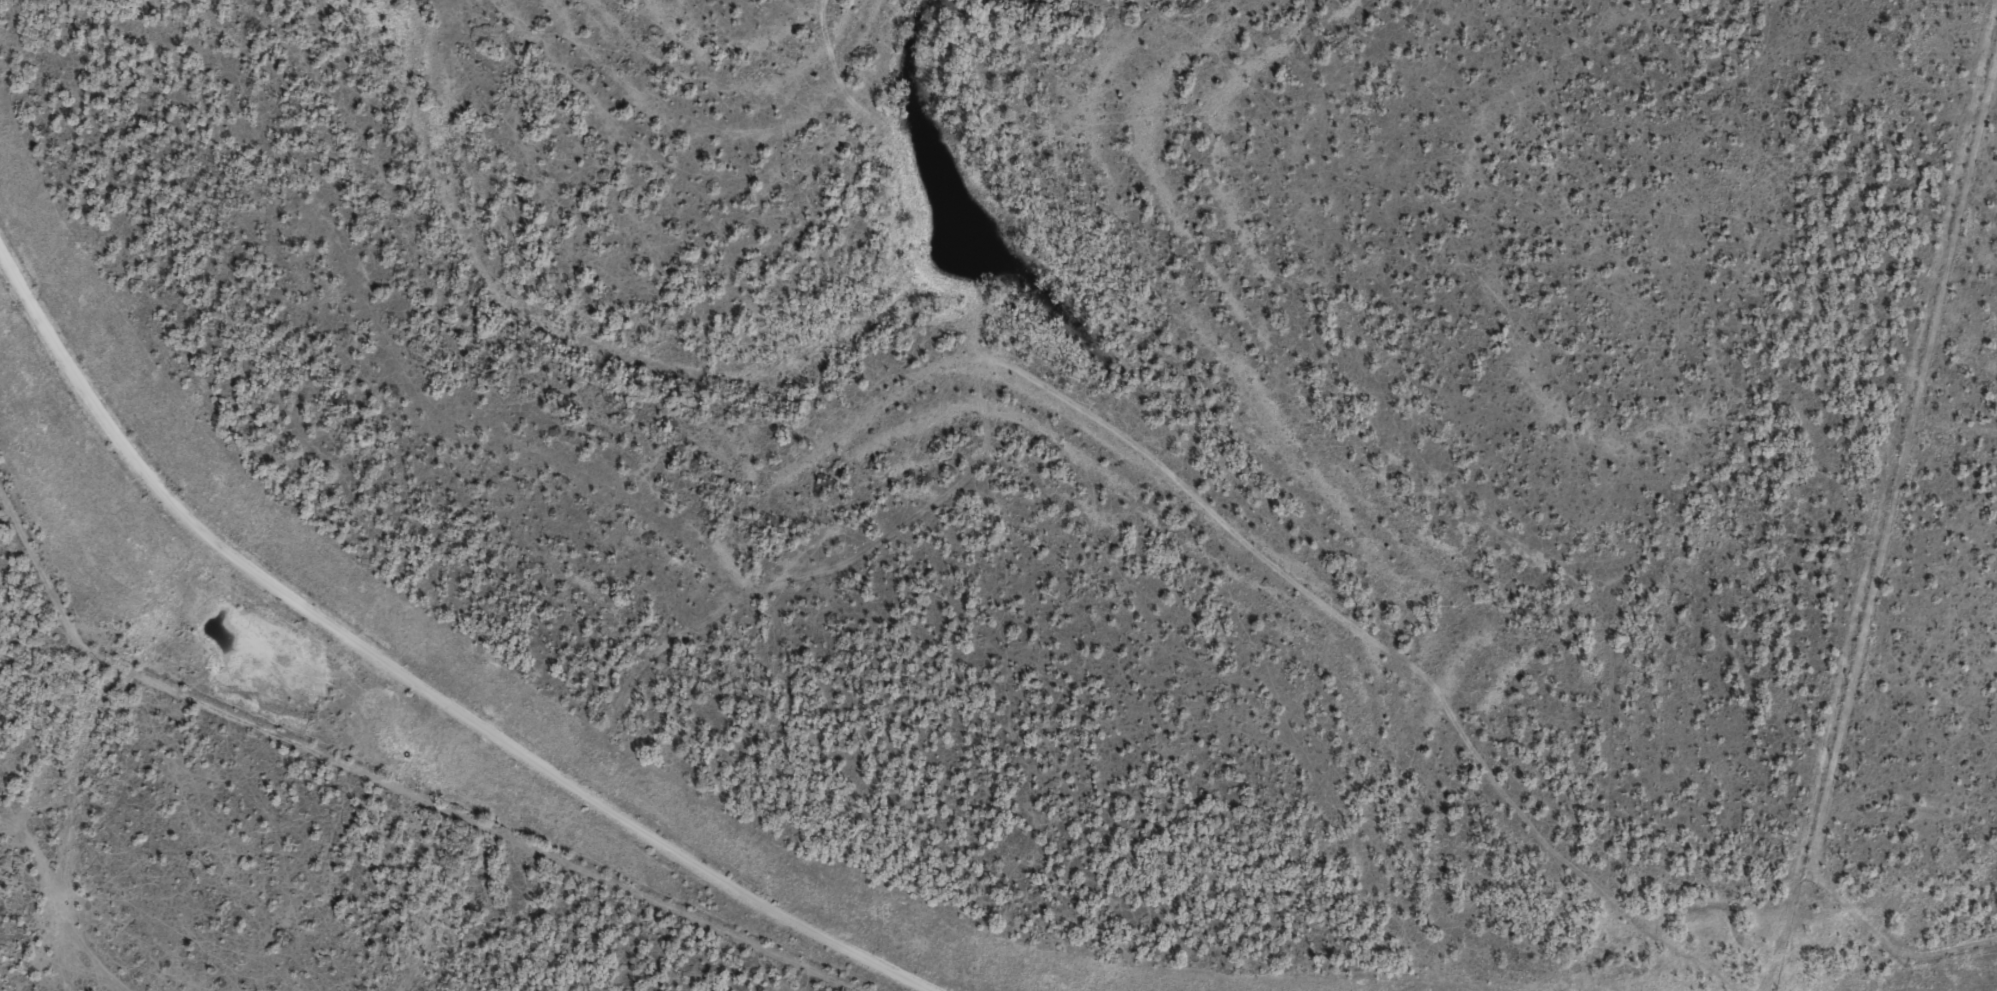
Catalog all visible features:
road: (437, 709)

